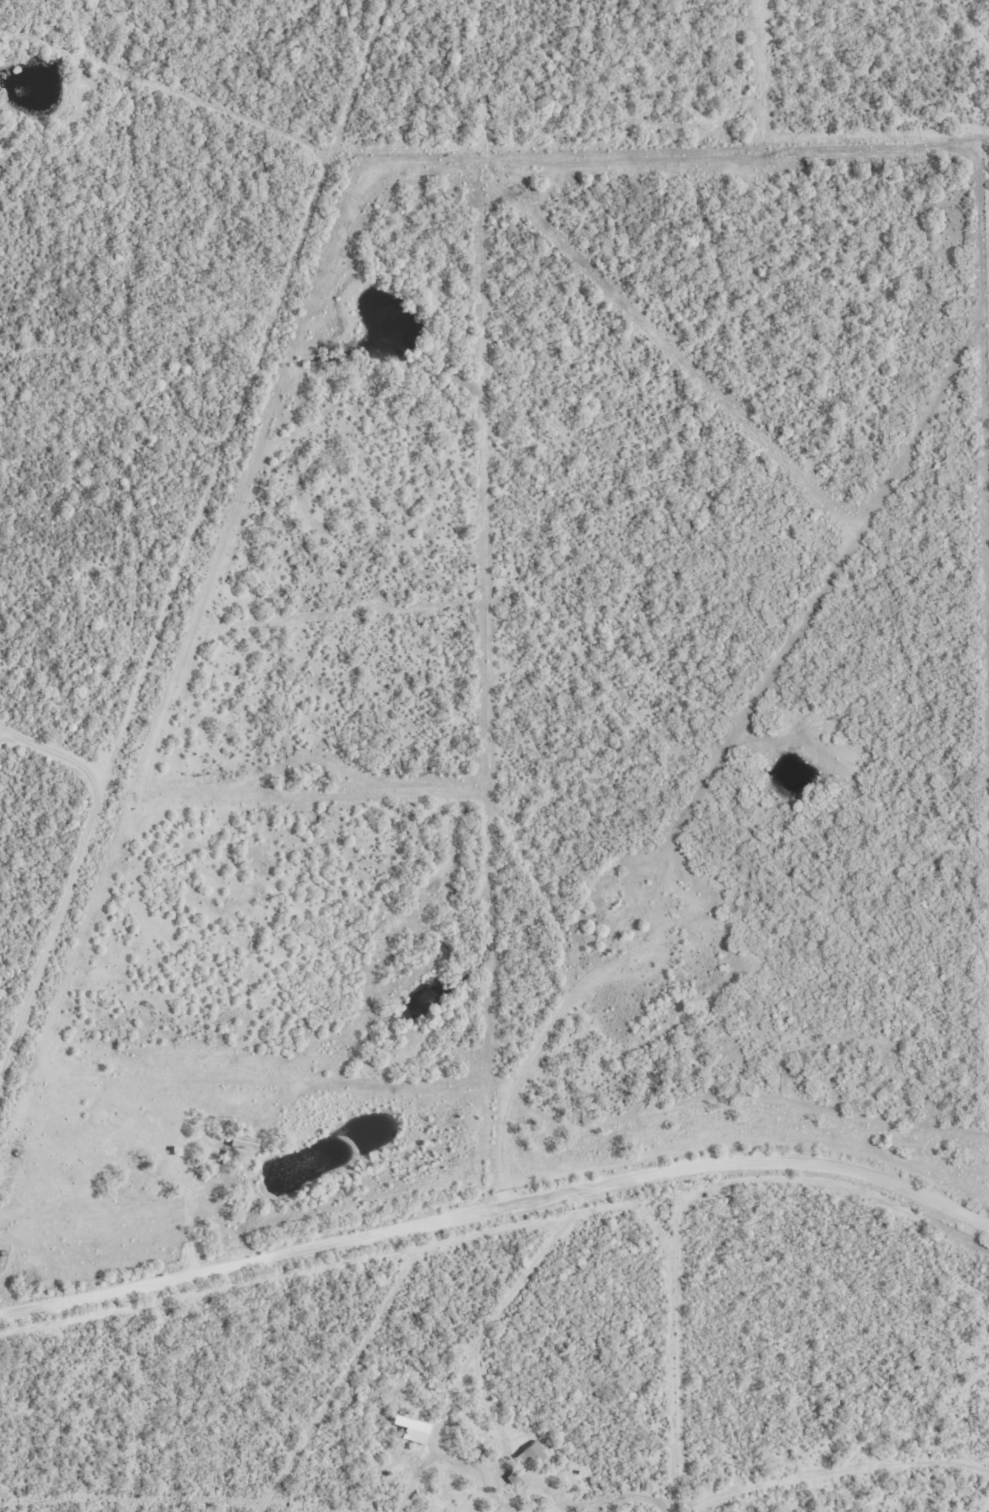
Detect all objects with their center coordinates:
building: (217, 1136)
building: (246, 1141)
road: (497, 1208)
building: (531, 1456)

